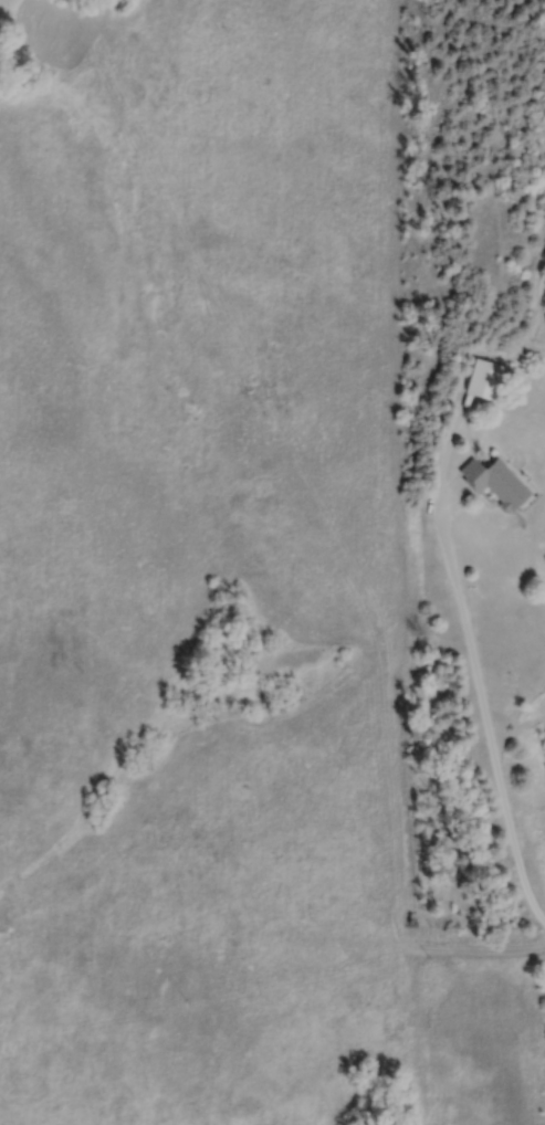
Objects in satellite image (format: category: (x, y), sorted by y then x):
building: (496, 482)
road: (478, 712)

